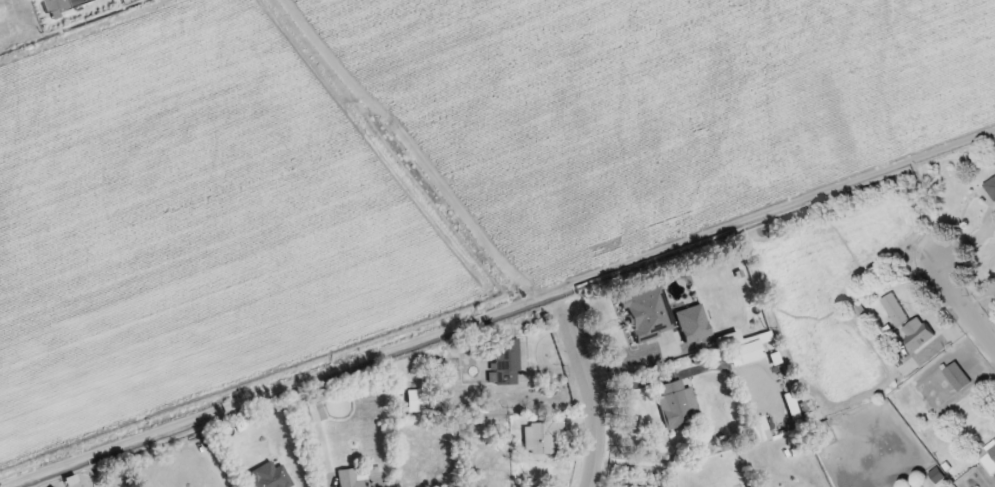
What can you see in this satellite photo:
building: (59, 6)
building: (991, 188)
road: (965, 307)
building: (894, 310)
building: (646, 313)
building: (690, 323)
building: (887, 334)
building: (917, 334)
building: (744, 345)
building: (504, 363)
building: (957, 377)
road: (591, 398)
building: (413, 401)
building: (676, 405)
building: (791, 409)
building: (310, 412)
building: (539, 437)
building: (988, 457)
building: (267, 476)
building: (936, 476)
building: (358, 477)

